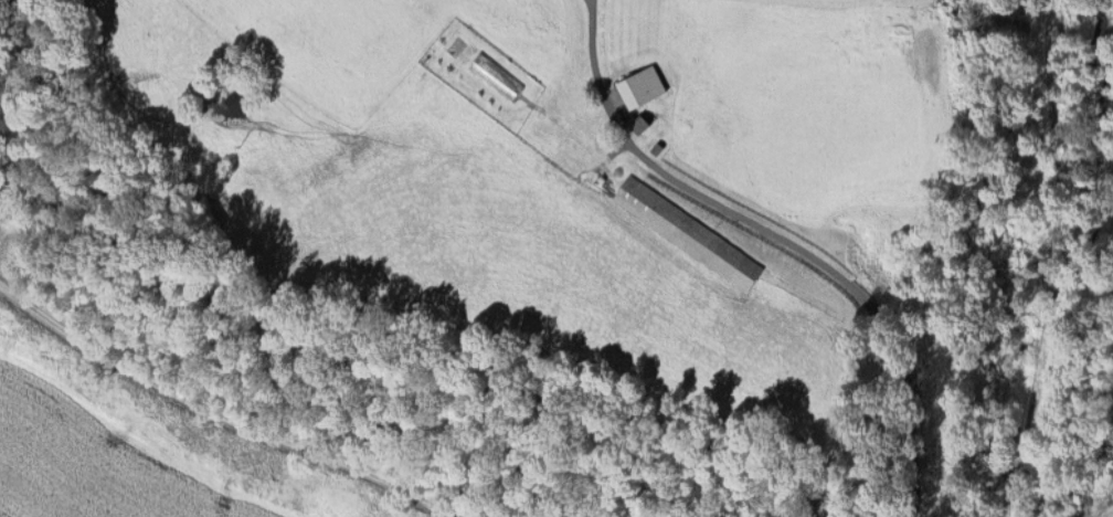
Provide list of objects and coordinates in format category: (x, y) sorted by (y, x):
building: (640, 85)
building: (689, 231)
road: (782, 239)
road: (239, 412)
crop: (159, 444)
building: (1104, 486)

